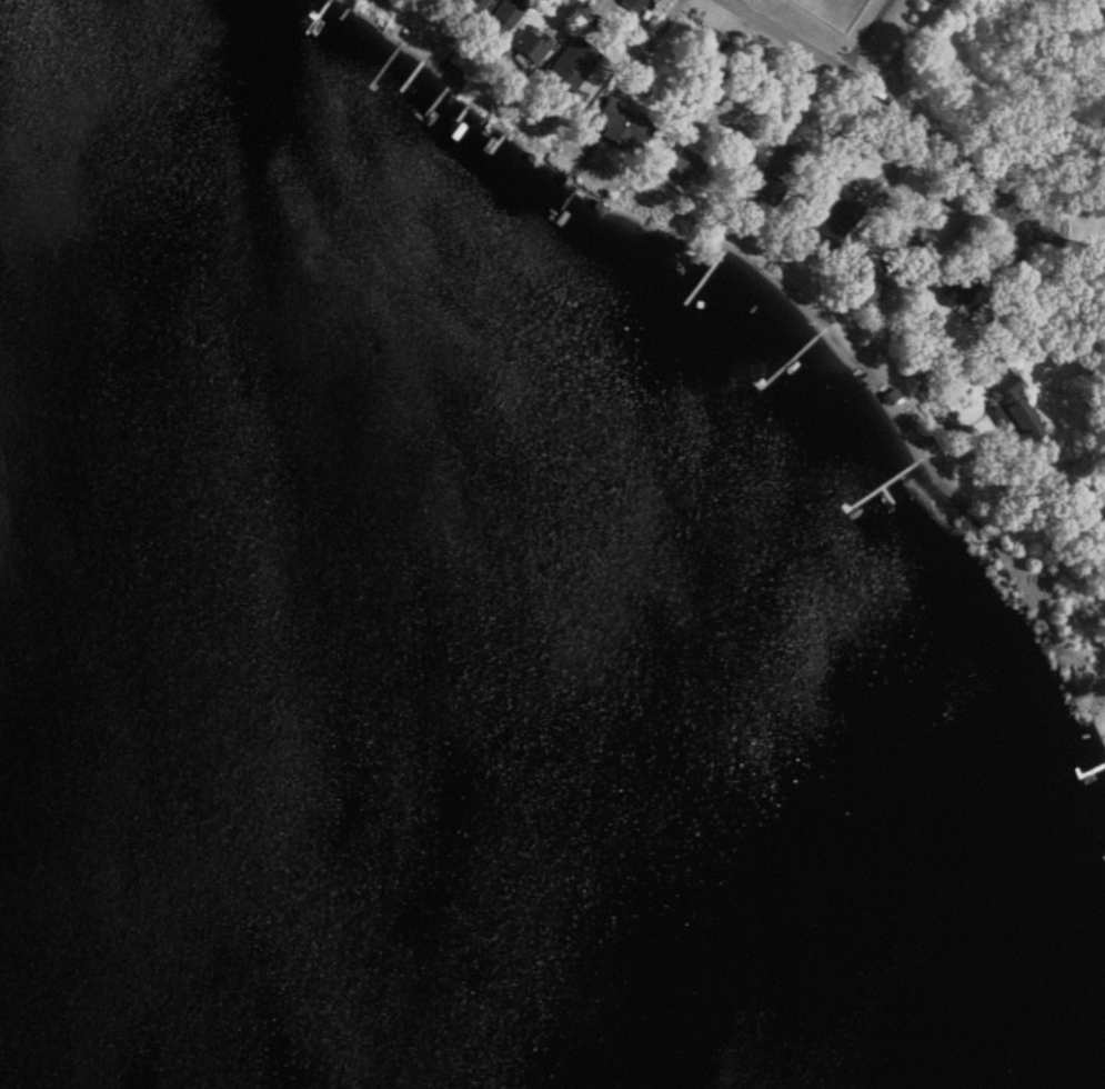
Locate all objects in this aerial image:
building: (469, 6)
building: (500, 20)
road: (861, 33)
building: (709, 42)
road: (647, 44)
road: (903, 44)
building: (526, 46)
building: (570, 63)
road: (883, 99)
building: (621, 122)
building: (736, 137)
building: (787, 159)
building: (684, 163)
building: (764, 186)
building: (802, 209)
building: (834, 221)
road: (1058, 237)
building: (911, 246)
building: (865, 278)
building: (957, 289)
road: (984, 292)
building: (1013, 409)

